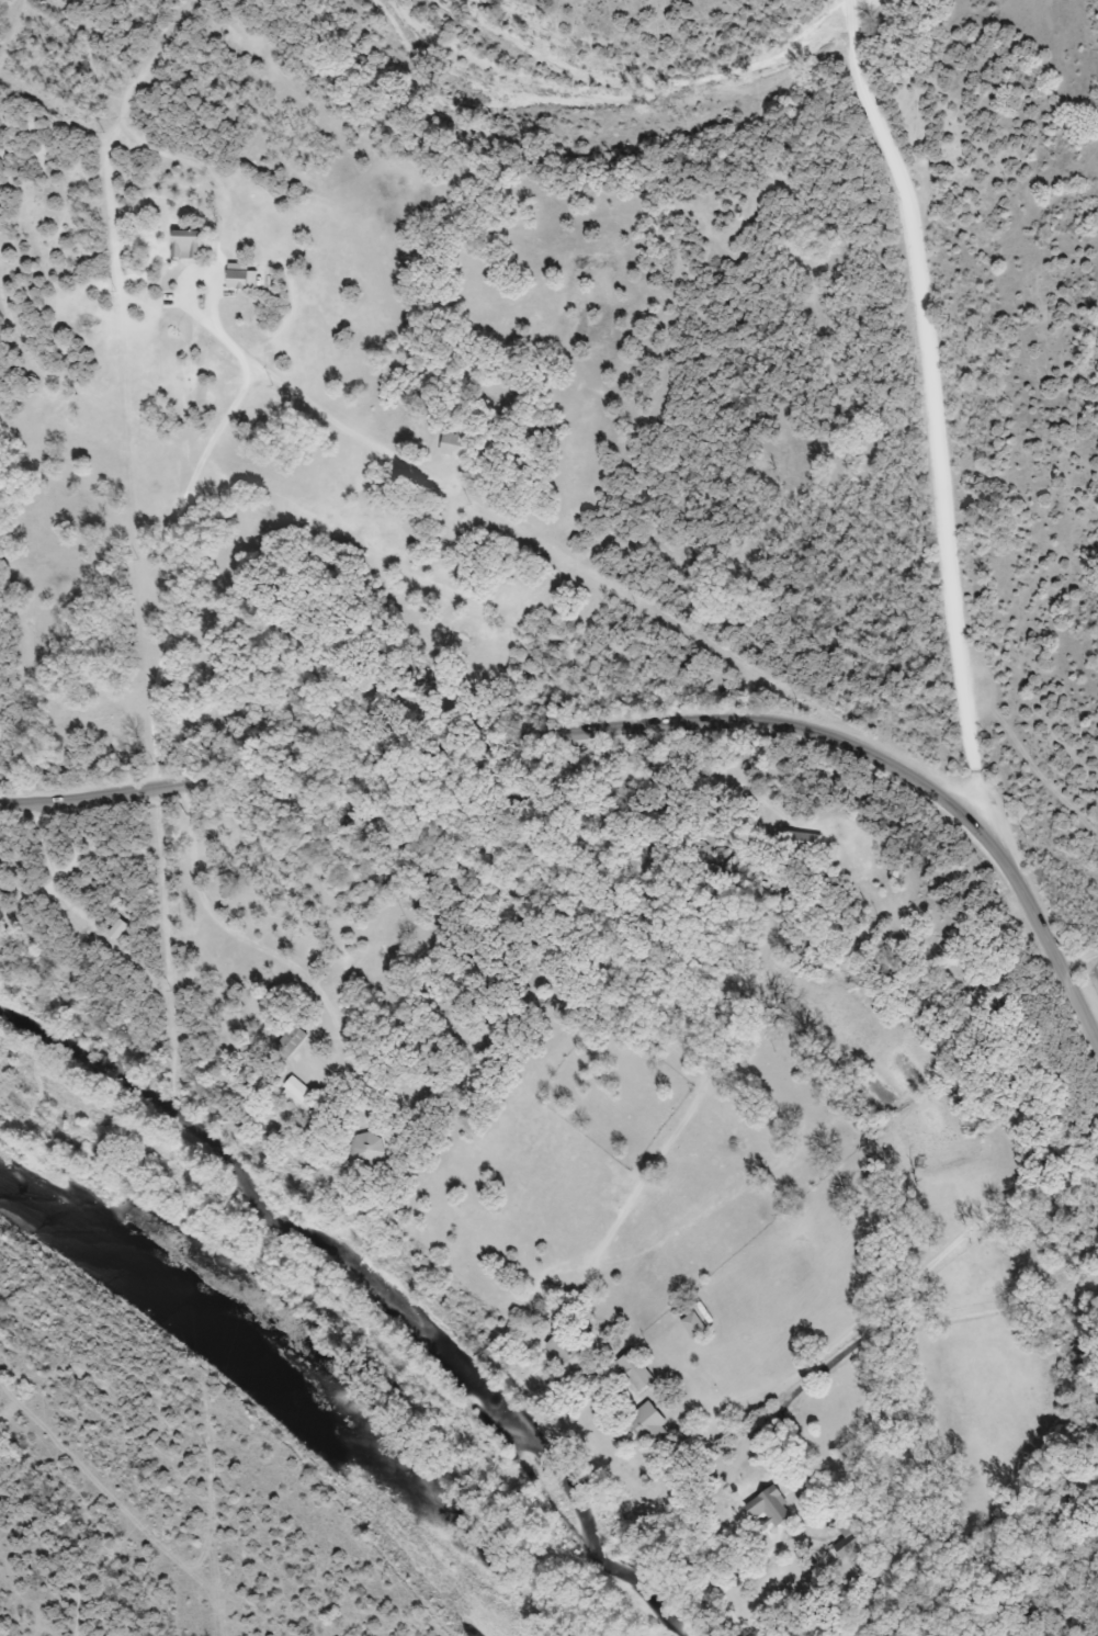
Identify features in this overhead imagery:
building: (189, 246)
road: (940, 415)
building: (462, 442)
road: (616, 727)
road: (1086, 964)
building: (292, 1040)
building: (295, 1088)
building: (367, 1149)
building: (695, 1327)
building: (565, 1350)
building: (636, 1372)
river: (287, 1374)
building: (649, 1422)
building: (773, 1508)
building: (851, 1537)

